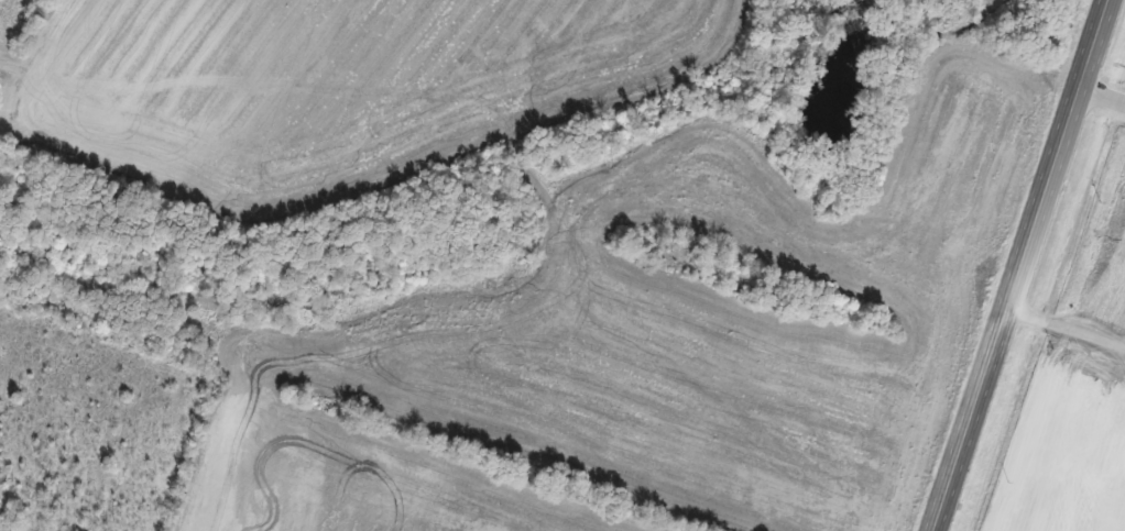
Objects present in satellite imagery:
crop: (337, 84)
road: (1101, 97)
road: (1019, 265)

